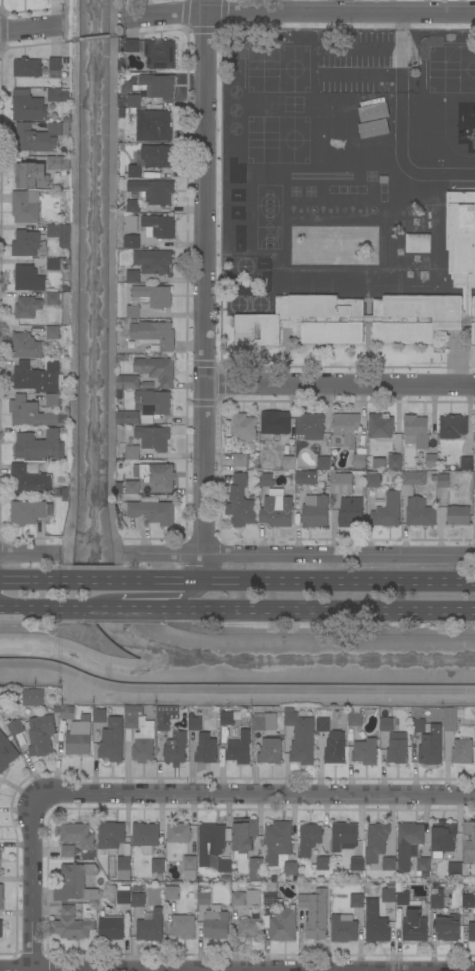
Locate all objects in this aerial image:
road: (298, 14)
road: (30, 29)
road: (115, 29)
road: (70, 34)
road: (93, 39)
building: (132, 46)
building: (160, 54)
building: (55, 64)
building: (27, 68)
building: (373, 79)
building: (159, 85)
building: (58, 95)
building: (373, 96)
building: (134, 101)
building: (28, 107)
building: (374, 112)
building: (153, 126)
building: (374, 129)
building: (41, 136)
building: (373, 145)
building: (156, 156)
building: (58, 163)
building: (135, 171)
building: (31, 176)
building: (384, 180)
building: (153, 191)
building: (25, 207)
building: (131, 215)
building: (160, 226)
building: (60, 234)
building: (131, 241)
building: (418, 243)
building: (28, 244)
building: (153, 261)
building: (53, 265)
building: (133, 276)
building: (28, 279)
road: (202, 288)
building: (153, 296)
building: (53, 299)
building: (379, 302)
building: (27, 307)
building: (133, 312)
building: (53, 333)
building: (154, 335)
building: (26, 346)
building: (157, 370)
building: (39, 376)
road: (338, 381)
building: (128, 382)
building: (53, 400)
building: (153, 404)
building: (31, 413)
building: (128, 418)
building: (275, 426)
building: (310, 426)
building: (452, 426)
building: (244, 427)
building: (380, 427)
building: (474, 427)
building: (344, 430)
building: (416, 432)
building: (154, 438)
building: (40, 446)
building: (132, 452)
building: (360, 453)
building: (240, 461)
building: (394, 462)
building: (431, 462)
building: (288, 463)
building: (323, 463)
building: (379, 463)
building: (467, 463)
building: (158, 475)
building: (306, 478)
building: (29, 479)
building: (372, 479)
building: (266, 480)
building: (410, 481)
building: (443, 481)
building: (474, 481)
building: (341, 483)
building: (132, 487)
building: (370, 495)
building: (242, 502)
building: (277, 509)
building: (151, 511)
building: (315, 511)
building: (387, 511)
building: (29, 512)
building: (351, 513)
building: (419, 513)
building: (458, 515)
road: (29, 556)
road: (296, 556)
road: (30, 577)
road: (93, 577)
road: (300, 578)
road: (170, 597)
road: (32, 608)
road: (97, 609)
road: (302, 610)
building: (32, 698)
building: (474, 711)
building: (68, 713)
building: (99, 716)
building: (166, 717)
building: (227, 718)
building: (355, 719)
building: (450, 719)
building: (322, 721)
building: (264, 722)
building: (195, 724)
building: (386, 724)
building: (418, 726)
building: (16, 727)
building: (140, 734)
building: (41, 736)
building: (79, 737)
building: (300, 737)
building: (112, 740)
building: (431, 746)
building: (397, 748)
building: (175, 749)
building: (206, 749)
building: (240, 749)
building: (335, 749)
building: (270, 751)
building: (365, 752)
building: (462, 752)
building: (6, 753)
road: (256, 794)
building: (178, 833)
building: (78, 835)
building: (111, 835)
building: (244, 835)
building: (344, 836)
building: (145, 837)
building: (309, 839)
building: (443, 839)
building: (210, 842)
building: (376, 842)
building: (408, 843)
building: (280, 847)
building: (68, 851)
building: (0, 853)
building: (465, 853)
building: (190, 863)
building: (323, 863)
building: (123, 864)
building: (357, 864)
building: (389, 864)
building: (423, 864)
building: (158, 866)
building: (224, 866)
building: (256, 869)
building: (190, 876)
building: (76, 883)
road: (31, 884)
building: (171, 893)
building: (388, 895)
building: (1, 896)
building: (123, 897)
building: (203, 898)
building: (253, 898)
building: (270, 898)
building: (238, 899)
building: (138, 900)
building: (304, 901)
building: (357, 901)
building: (468, 901)
building: (437, 902)
building: (411, 919)
building: (375, 922)
building: (216, 924)
building: (71, 925)
building: (283, 925)
building: (250, 926)
building: (151, 927)
building: (183, 927)
building: (111, 928)
building: (448, 928)
building: (1, 929)
building: (343, 929)
building: (315, 930)
building: (472, 932)

